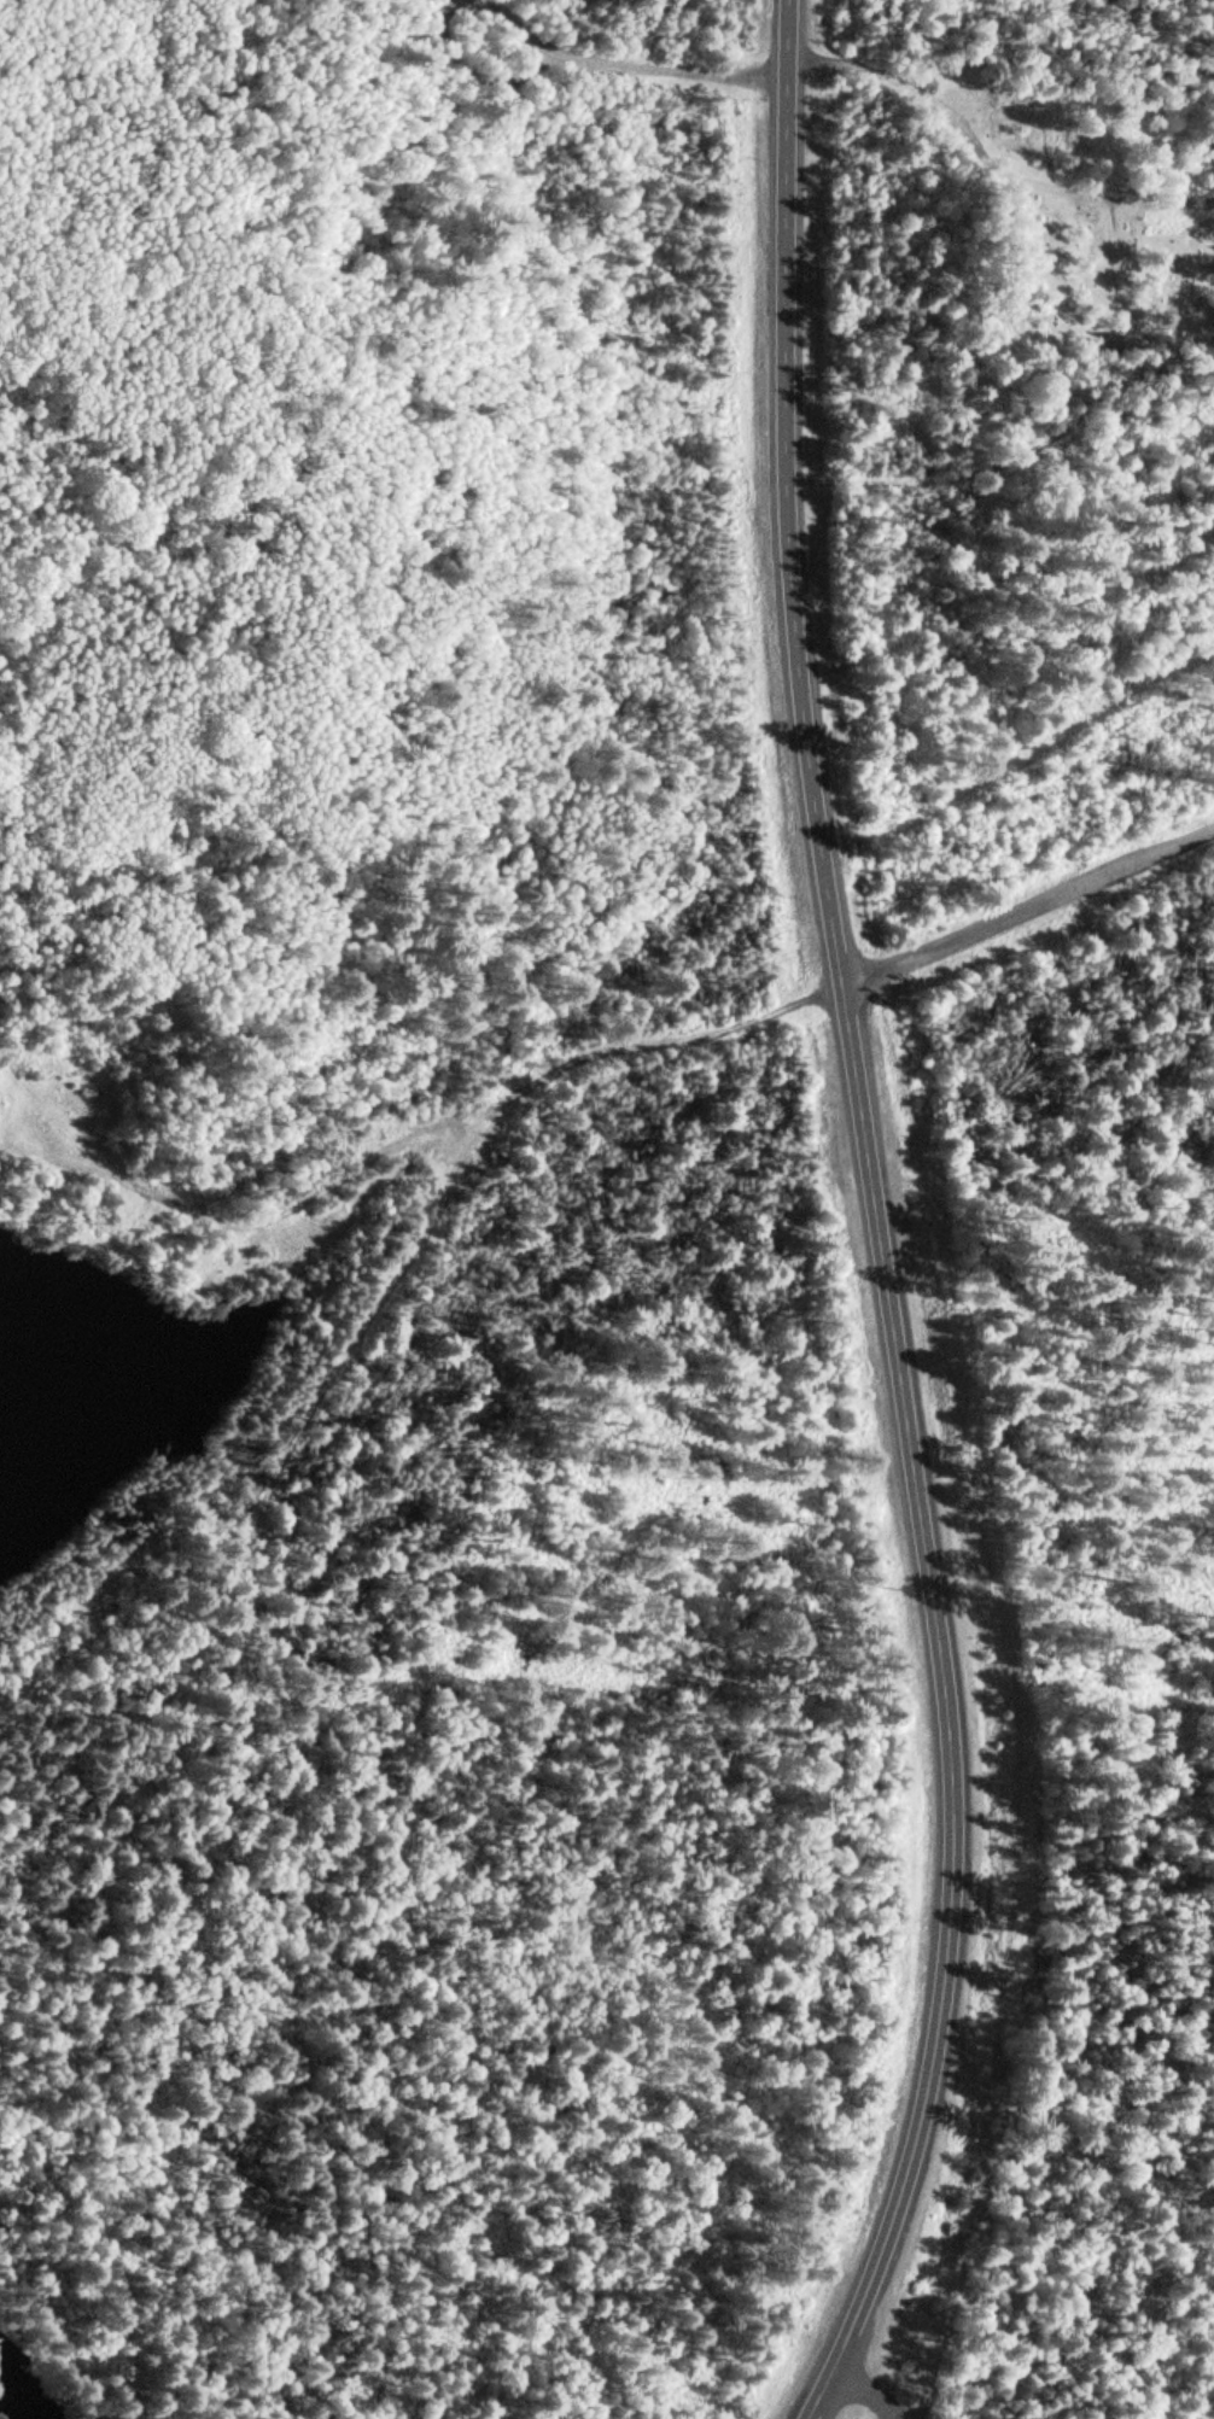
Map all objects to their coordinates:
park: (1019, 255)
road: (1029, 910)
road: (882, 1222)

